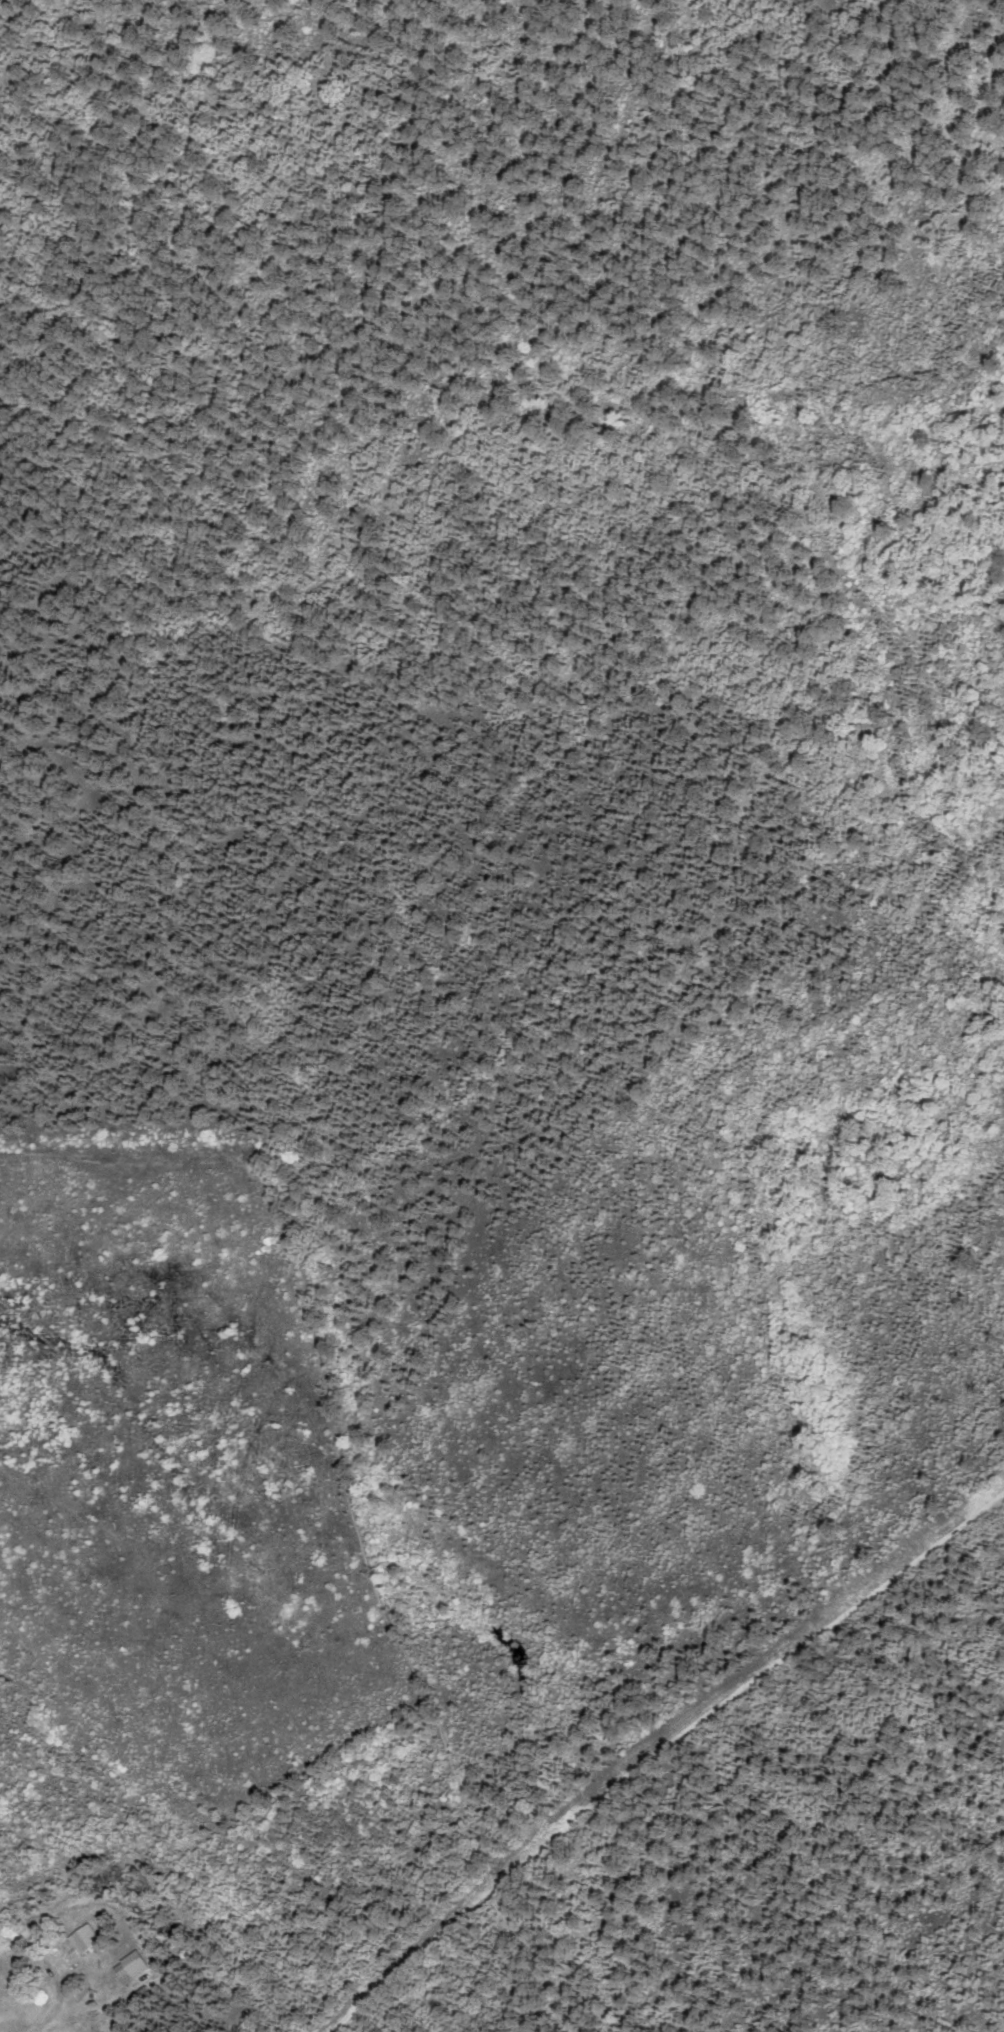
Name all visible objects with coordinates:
building: (87, 1938)
building: (134, 1964)

